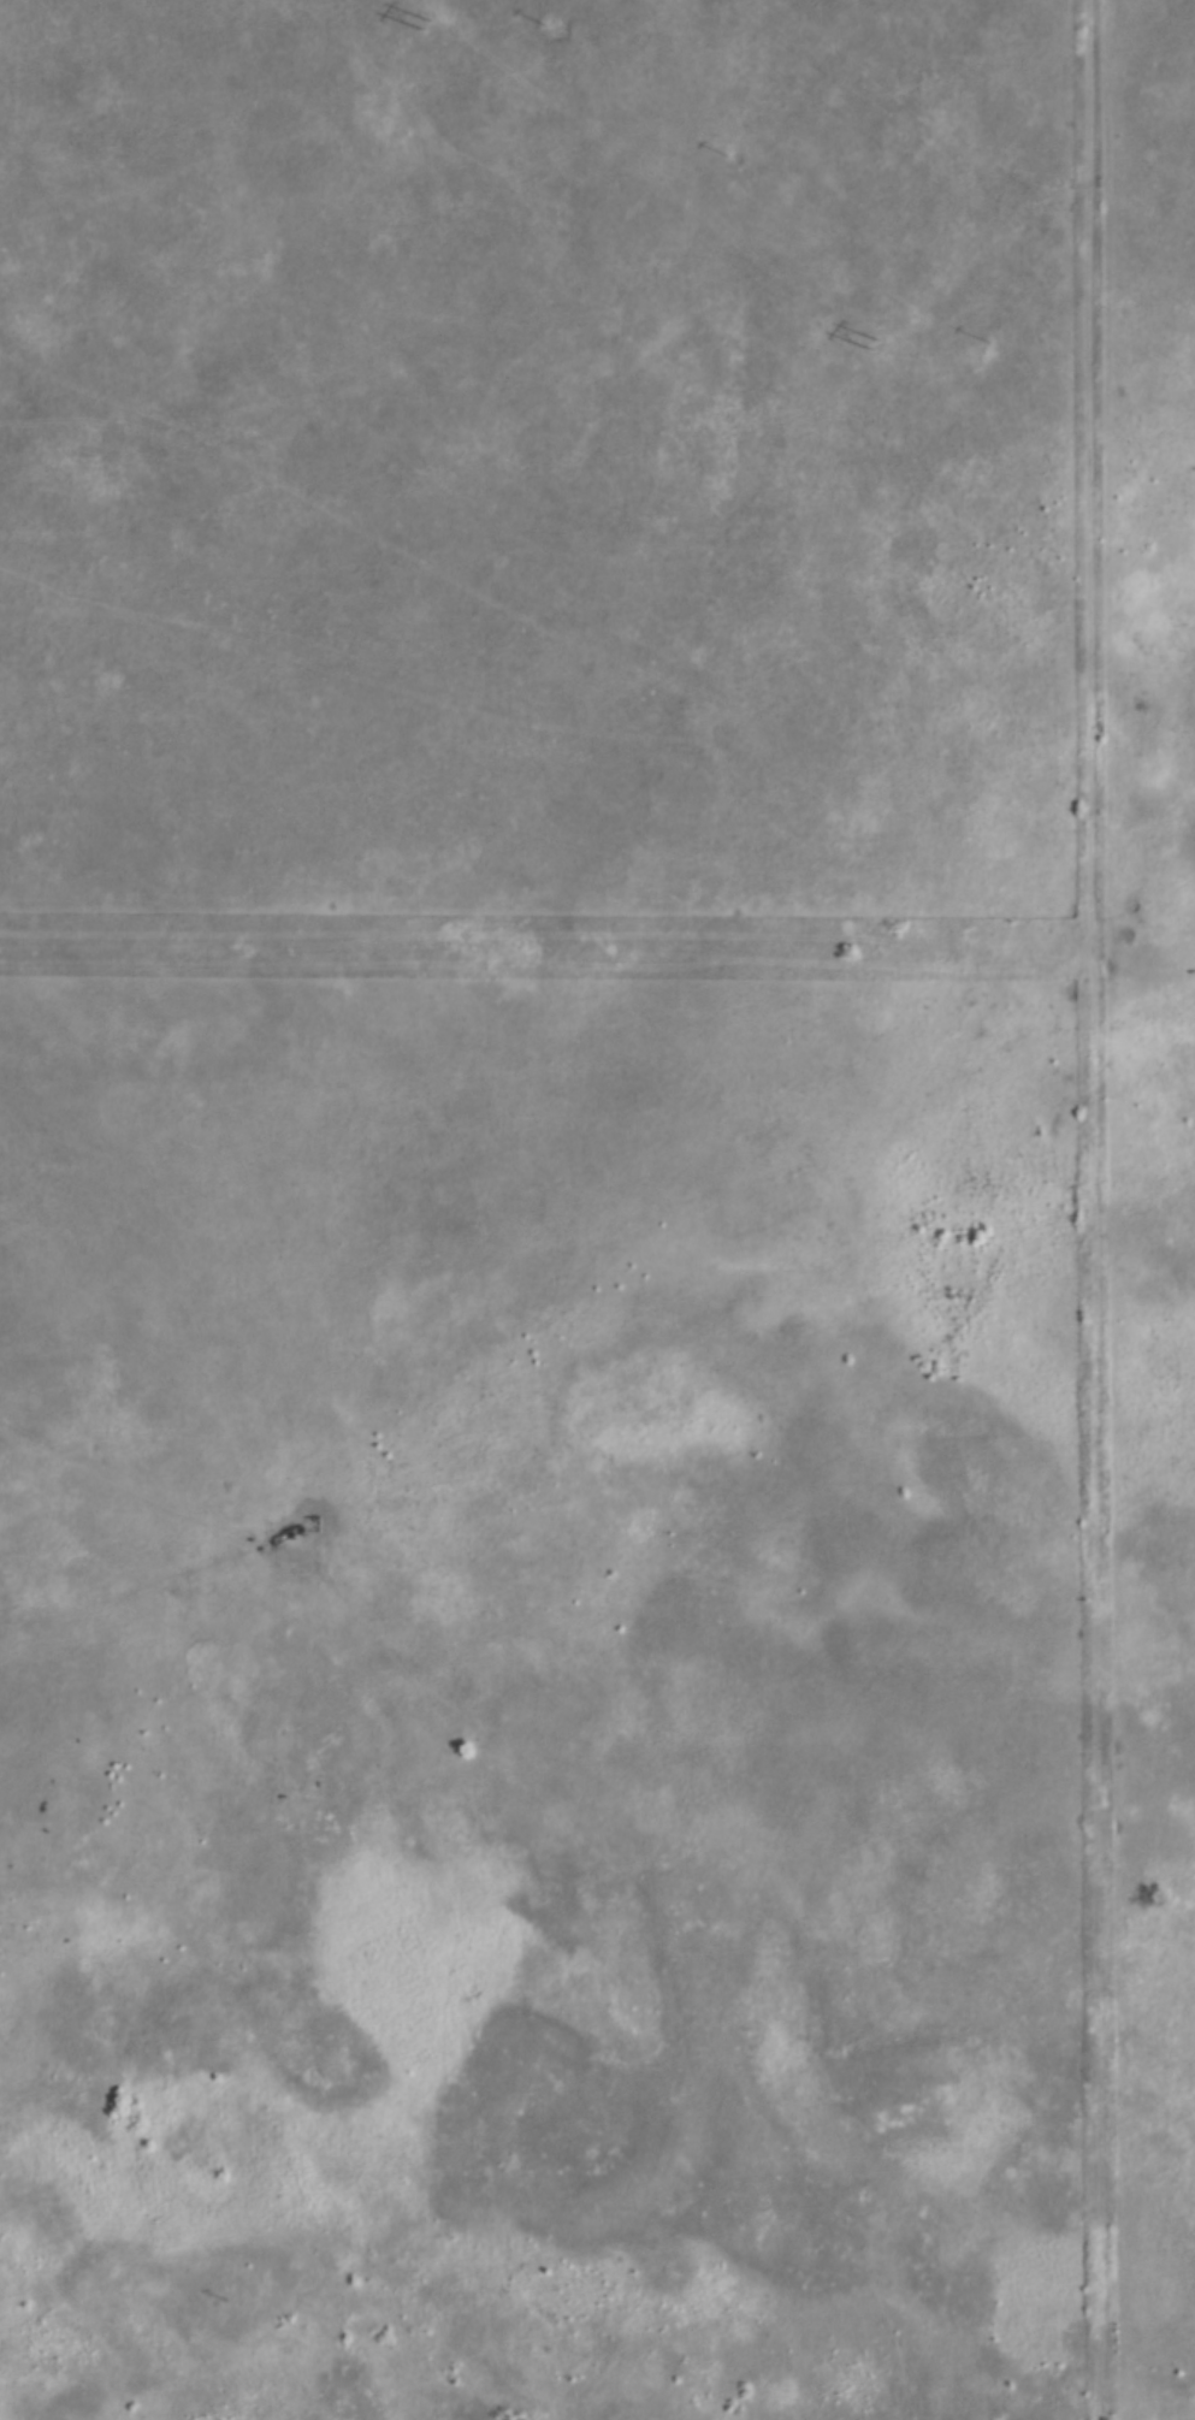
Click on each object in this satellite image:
road: (546, 925)

